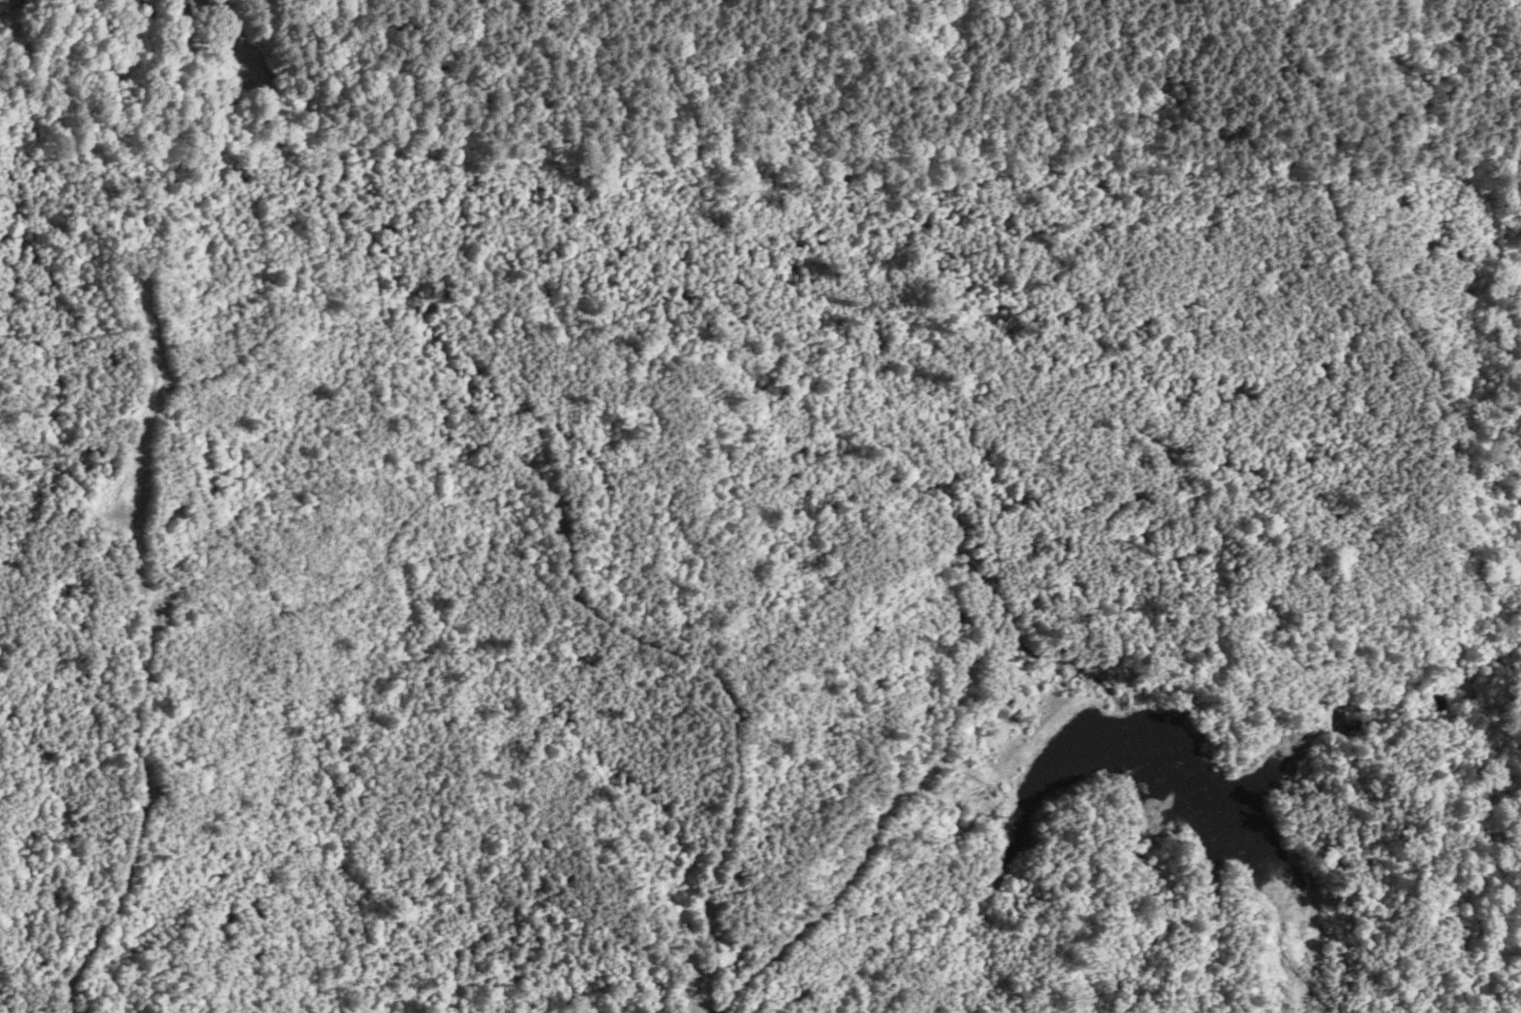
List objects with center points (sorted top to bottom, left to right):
road: (1460, 62)

